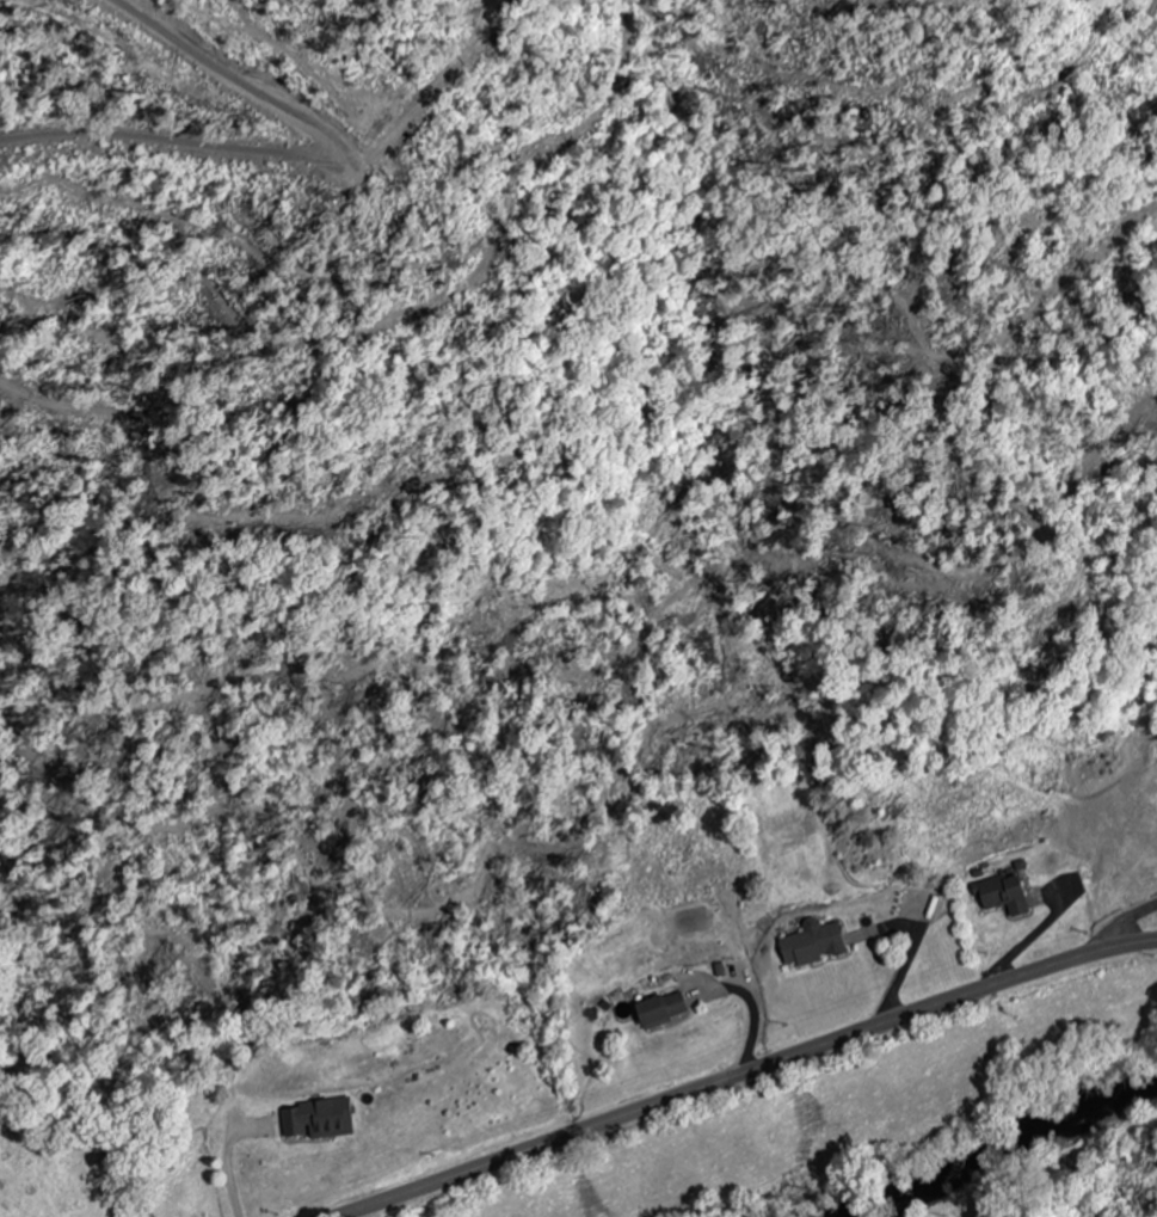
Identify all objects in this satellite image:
building: (1003, 896)
building: (812, 945)
building: (660, 1012)
road: (745, 1074)
building: (319, 1121)

